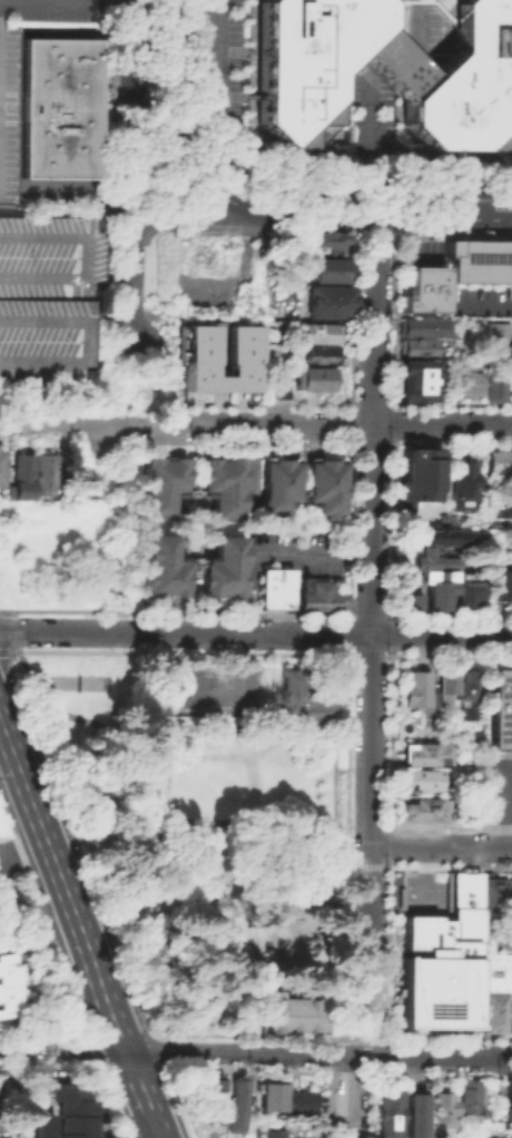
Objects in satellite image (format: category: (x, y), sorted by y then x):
building: (420, 28)
parking lot: (420, 28)
parking lot: (217, 49)
road: (214, 61)
building: (384, 71)
road: (166, 78)
road: (138, 94)
building: (9, 106)
parking lot: (9, 106)
building: (56, 106)
road: (365, 130)
road: (126, 157)
road: (430, 157)
road: (284, 167)
road: (77, 185)
road: (354, 187)
traffic signals: (361, 188)
road: (240, 205)
road: (179, 216)
road: (337, 217)
traffic signals: (349, 218)
road: (434, 218)
road: (502, 219)
road: (354, 230)
road: (380, 237)
building: (324, 241)
road: (406, 255)
building: (184, 257)
building: (479, 261)
building: (324, 268)
road: (373, 284)
road: (128, 286)
building: (421, 288)
building: (50, 300)
parking lot: (50, 300)
building: (326, 300)
building: (423, 325)
building: (314, 331)
building: (496, 337)
building: (417, 345)
building: (238, 347)
road: (217, 350)
building: (312, 354)
road: (121, 355)
building: (311, 376)
building: (415, 379)
road: (217, 381)
building: (467, 383)
building: (493, 384)
building: (274, 387)
road: (217, 408)
road: (69, 424)
road: (197, 424)
road: (384, 425)
road: (109, 426)
building: (499, 460)
building: (2, 465)
road: (248, 467)
building: (46, 472)
building: (22, 474)
building: (416, 477)
building: (277, 483)
building: (460, 483)
building: (161, 484)
building: (221, 484)
building: (323, 484)
building: (498, 507)
road: (126, 534)
building: (443, 536)
parking lot: (303, 547)
road: (270, 552)
building: (429, 558)
building: (160, 565)
building: (220, 566)
building: (500, 582)
building: (274, 587)
building: (434, 587)
building: (465, 592)
building: (316, 593)
building: (412, 601)
road: (255, 635)
road: (371, 635)
road: (9, 651)
building: (59, 680)
park: (77, 680)
building: (442, 683)
road: (17, 688)
park: (197, 688)
building: (415, 690)
building: (467, 690)
building: (297, 696)
building: (499, 707)
road: (3, 732)
building: (424, 752)
road: (332, 755)
road: (147, 774)
building: (419, 778)
parking lot: (493, 789)
road: (498, 805)
building: (423, 808)
building: (0, 821)
park: (213, 825)
building: (1, 832)
road: (298, 841)
road: (441, 846)
road: (424, 874)
building: (493, 885)
parking lot: (422, 892)
building: (2, 905)
road: (289, 931)
road: (498, 931)
parking lot: (494, 934)
road: (83, 940)
building: (439, 961)
building: (494, 972)
building: (9, 985)
building: (2, 1005)
road: (368, 1005)
building: (285, 1011)
building: (492, 1013)
road: (24, 1049)
road: (318, 1053)
building: (3, 1086)
road: (351, 1096)
building: (213, 1097)
building: (284, 1098)
building: (466, 1100)
building: (508, 1100)
building: (234, 1106)
building: (439, 1107)
building: (73, 1109)
building: (387, 1112)
building: (413, 1112)
building: (2, 1120)
building: (45, 1124)
building: (269, 1132)
road: (99, 1135)
building: (508, 1135)
building: (490, 1136)
road: (158, 1137)

